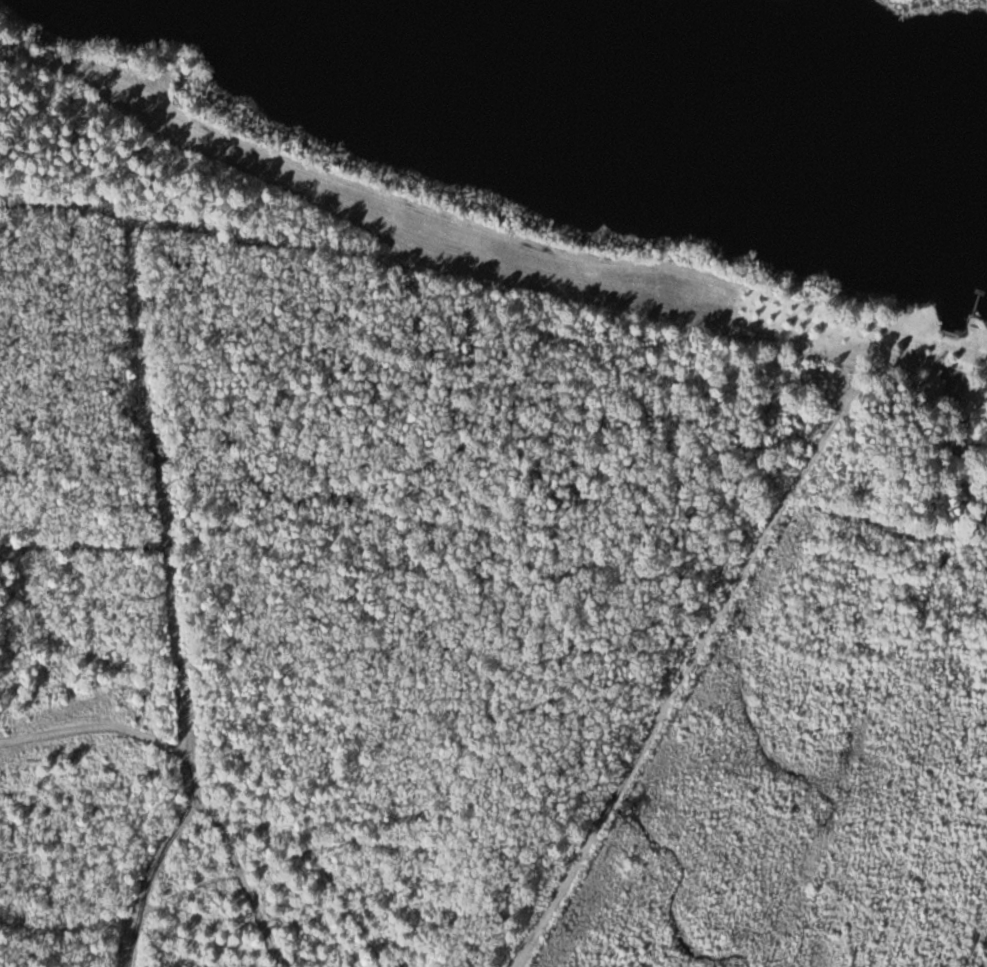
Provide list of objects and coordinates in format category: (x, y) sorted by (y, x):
building: (932, 382)
building: (966, 408)

